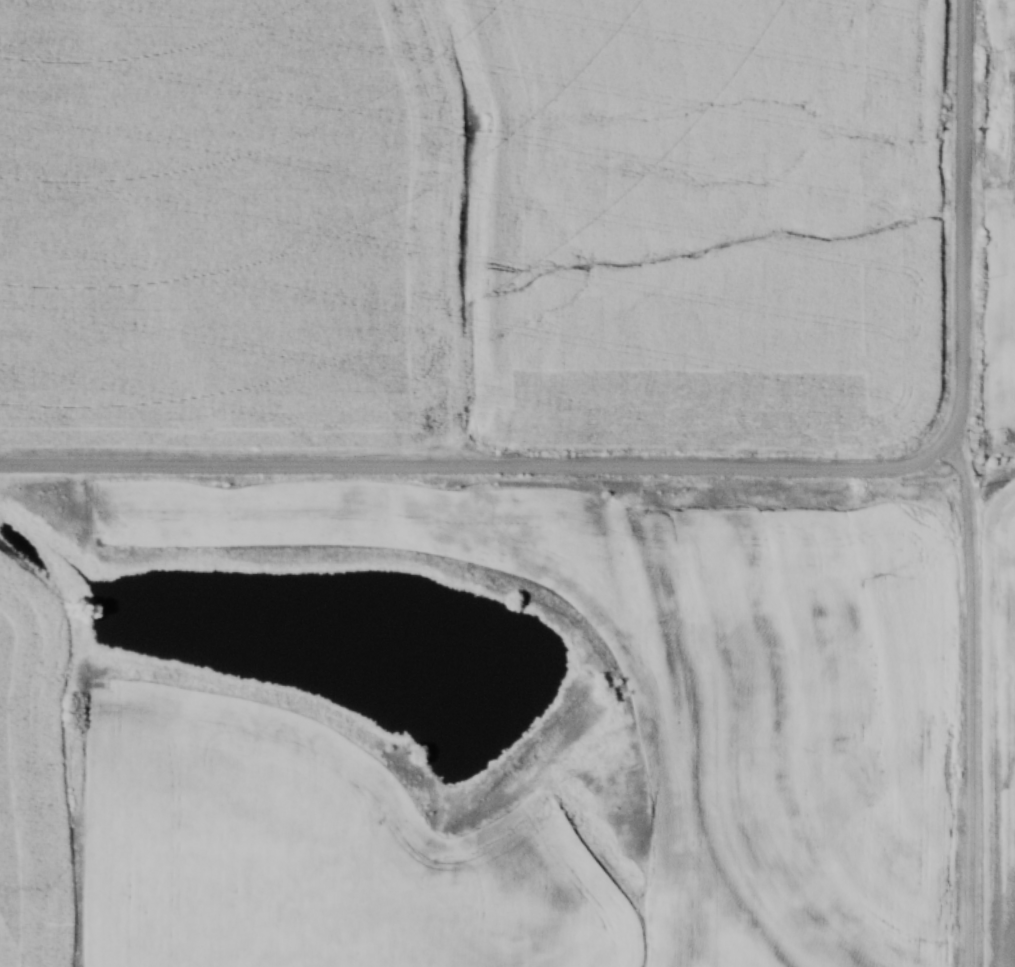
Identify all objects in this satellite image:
road: (964, 240)
road: (462, 465)
road: (972, 706)

